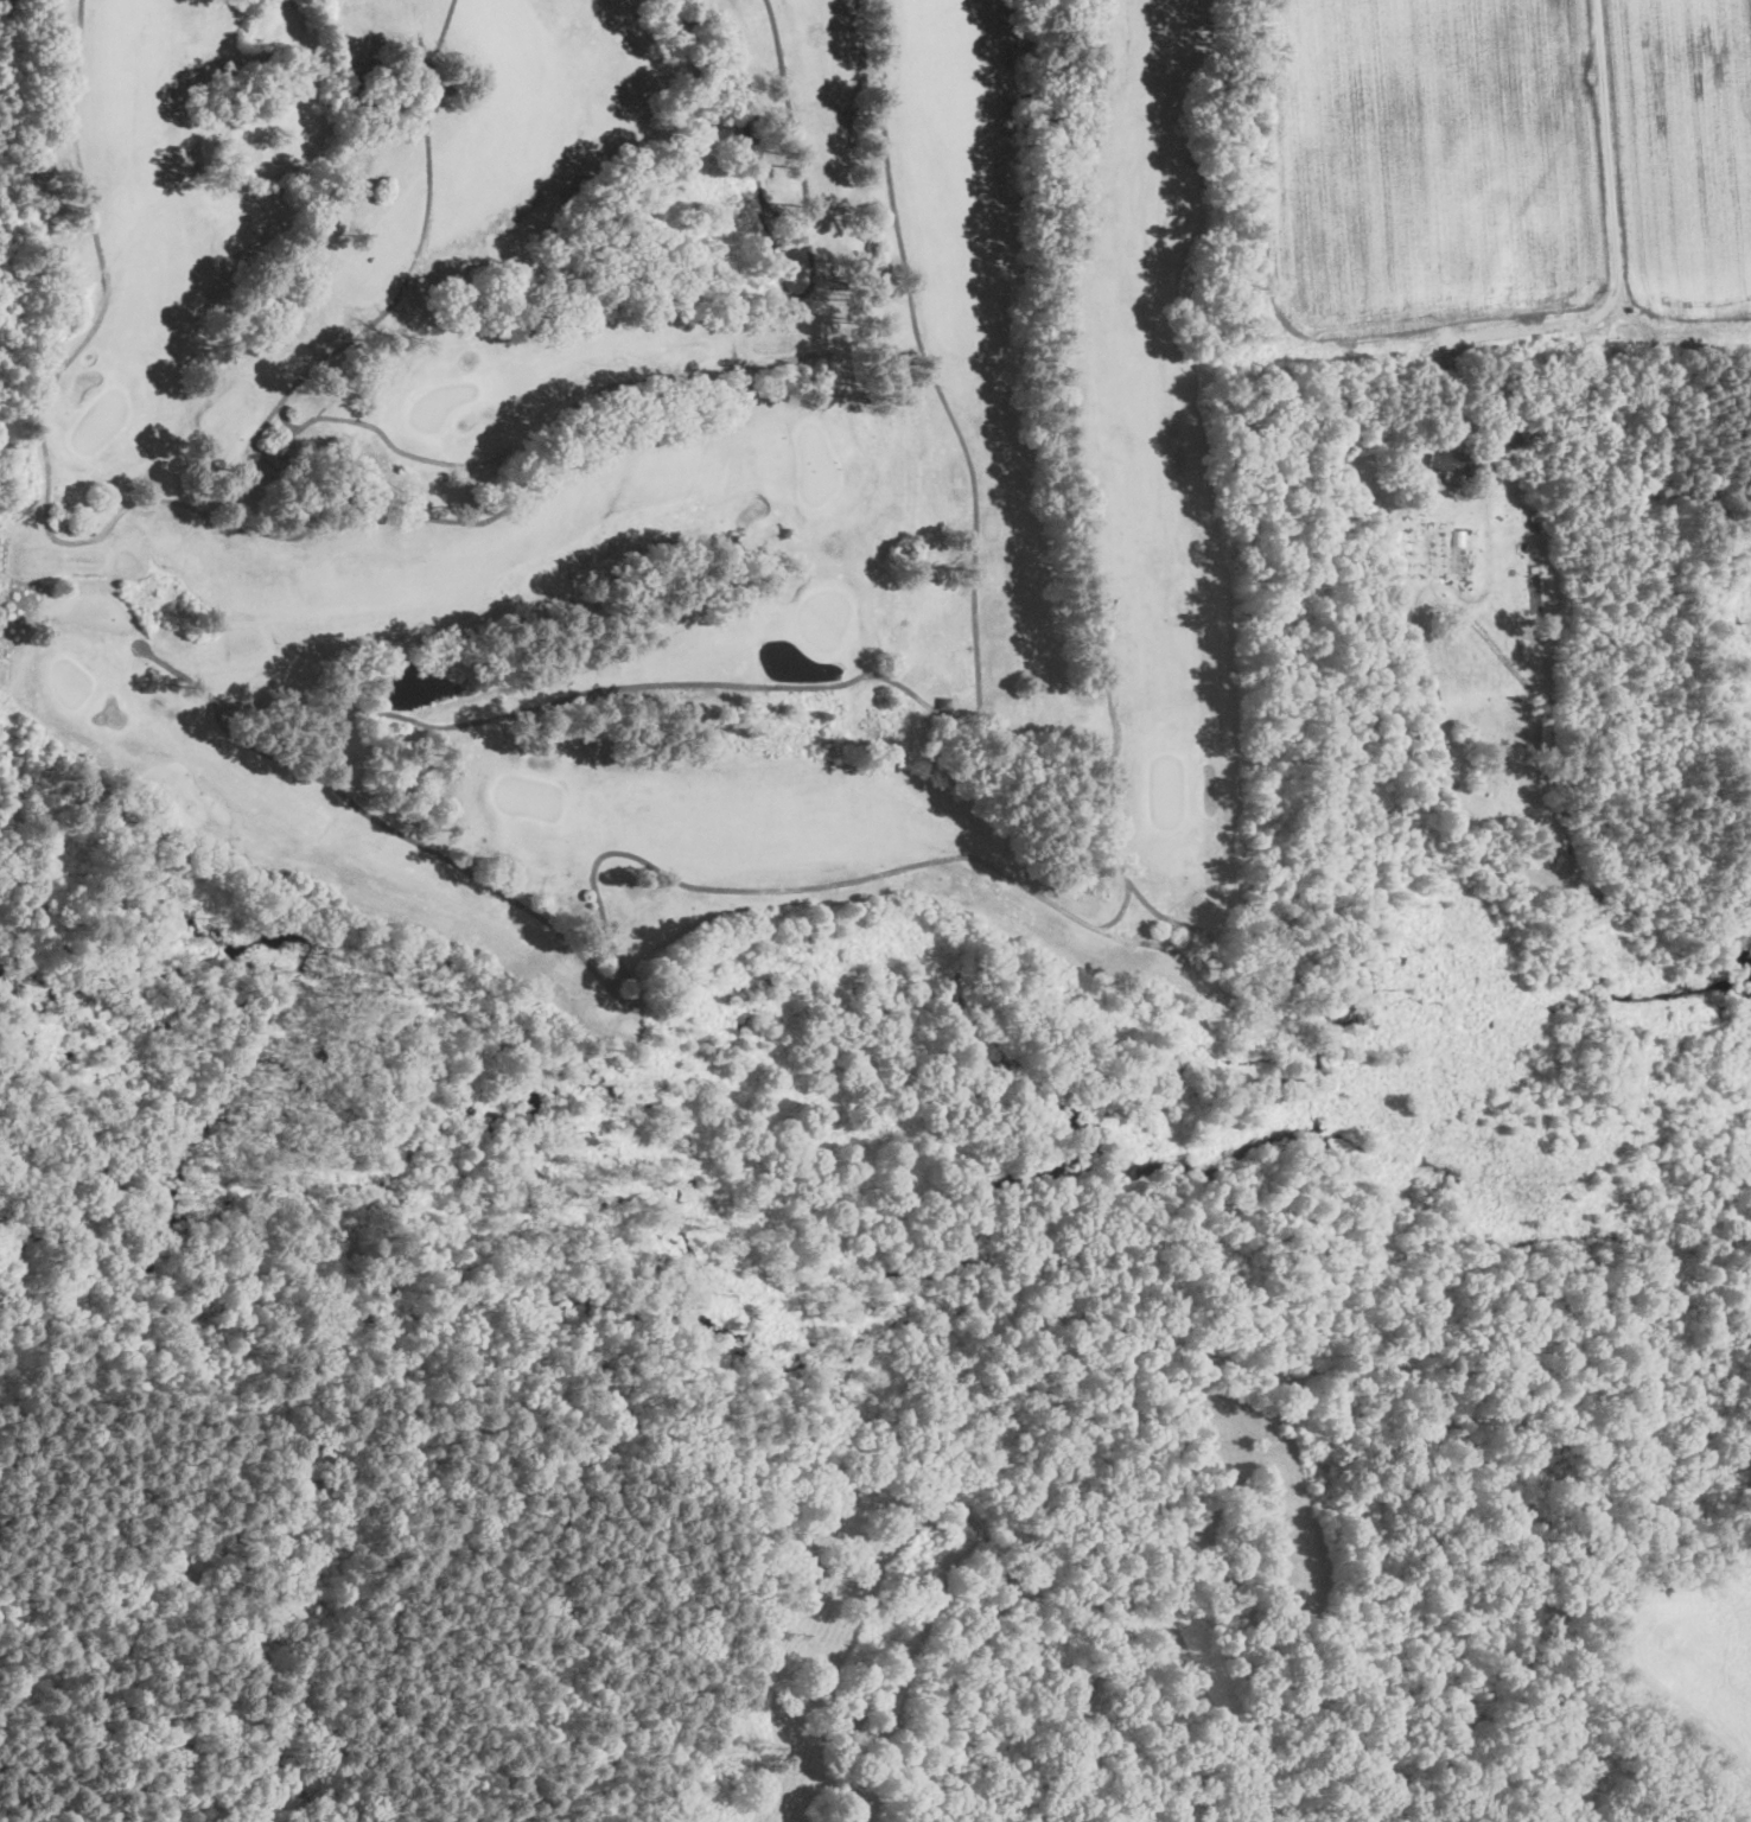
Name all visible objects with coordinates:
road: (1613, 230)
road: (286, 419)
building: (1513, 435)
building: (293, 459)
road: (495, 459)
building: (1457, 464)
building: (1451, 478)
building: (1711, 510)
building: (947, 702)
quarry: (873, 1425)

